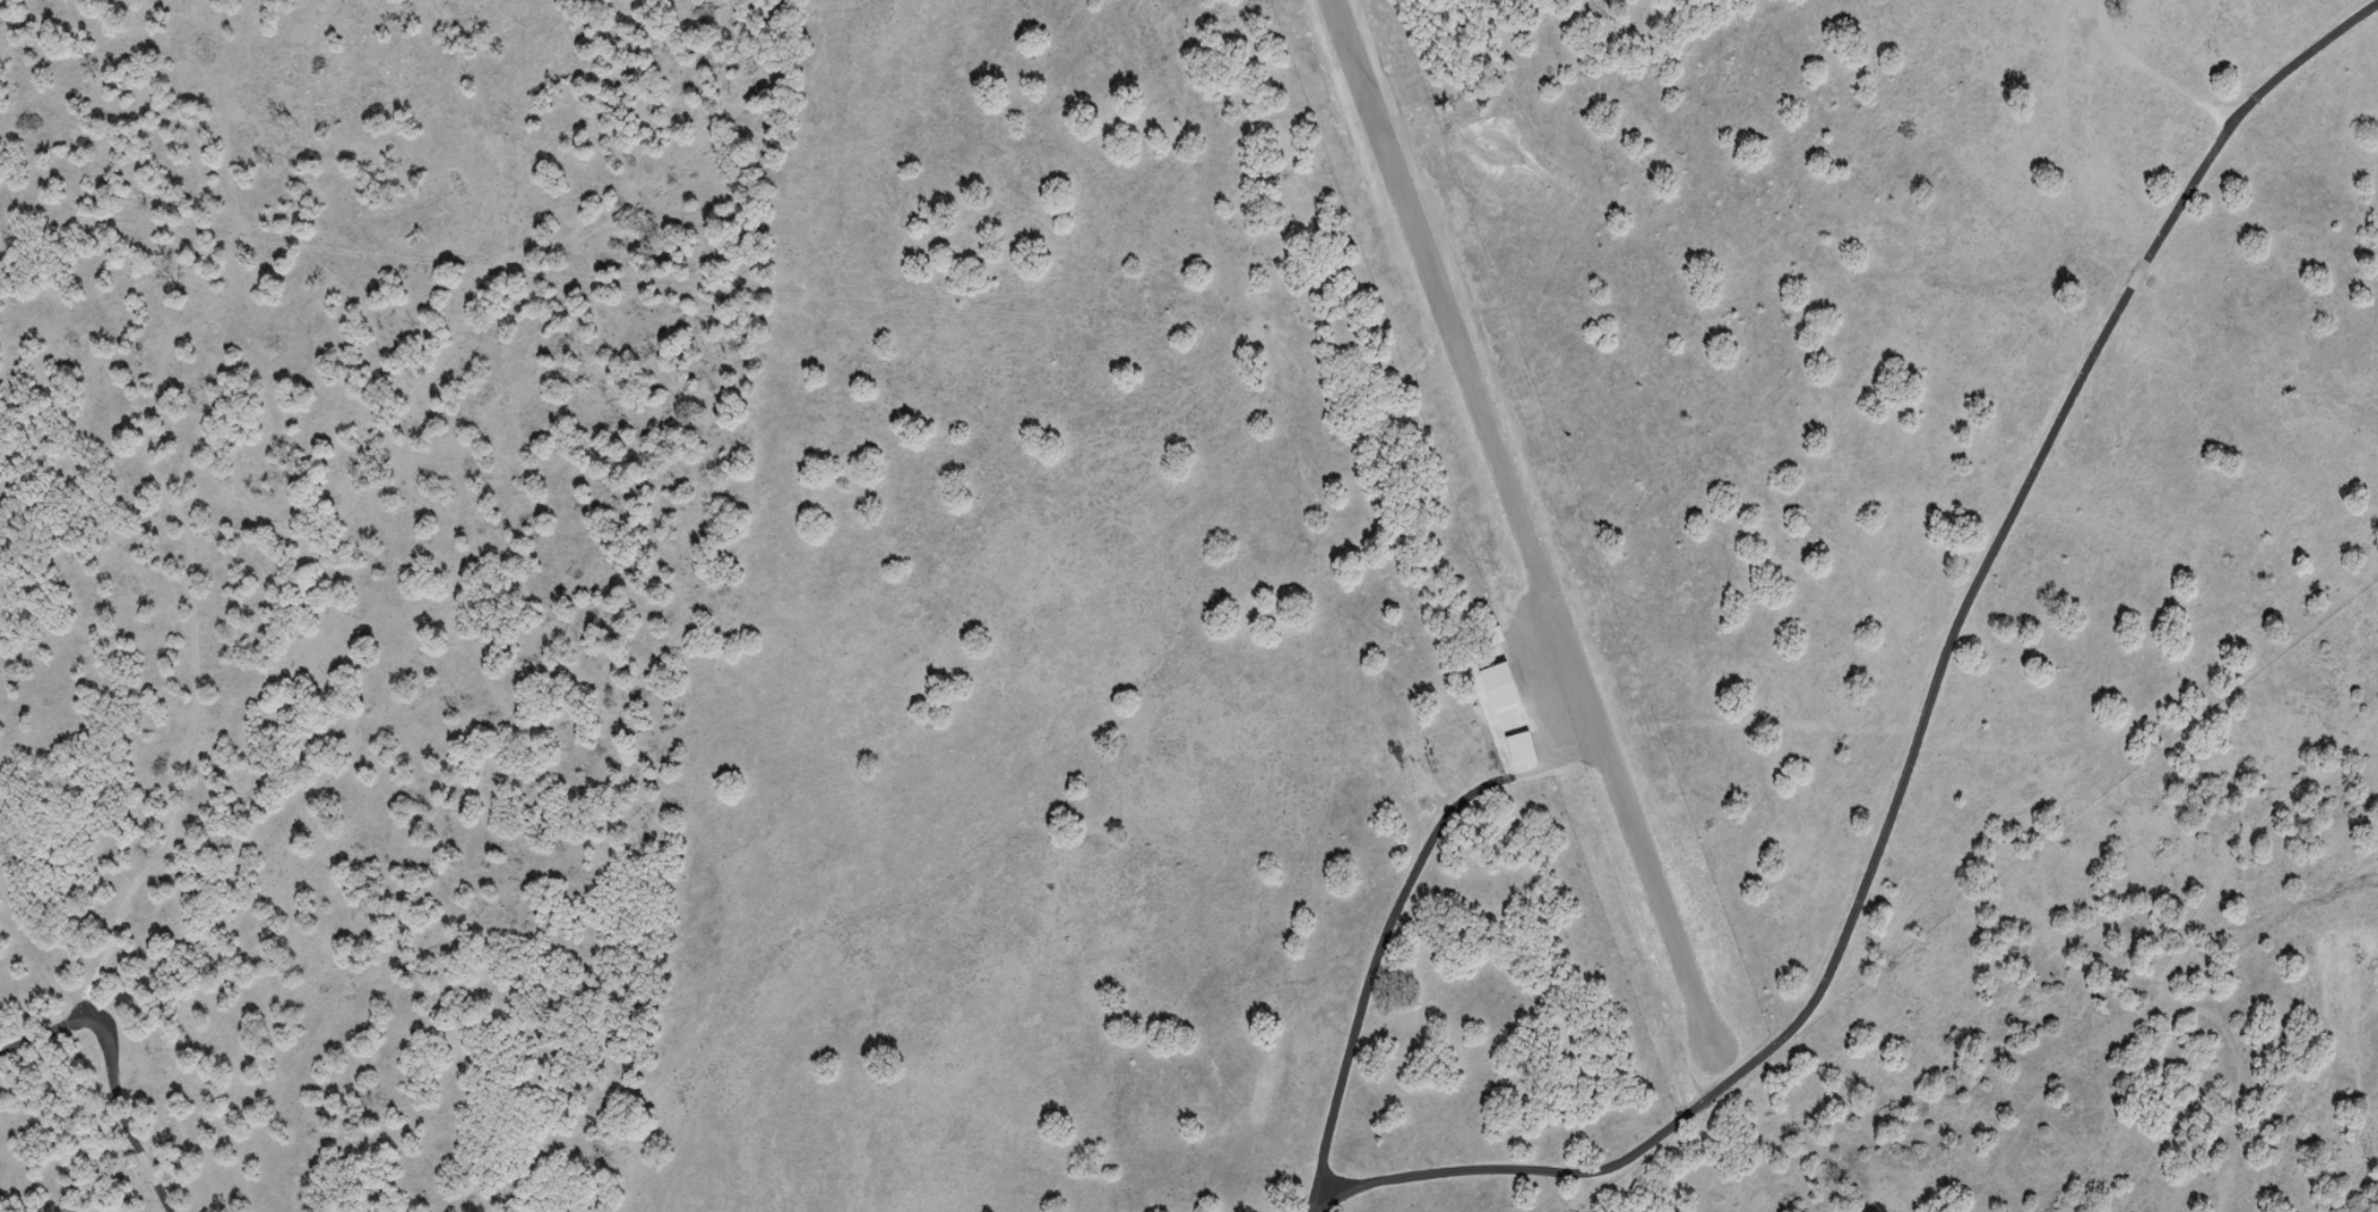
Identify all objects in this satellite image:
building: (1496, 638)
building: (1502, 689)
building: (1522, 751)

